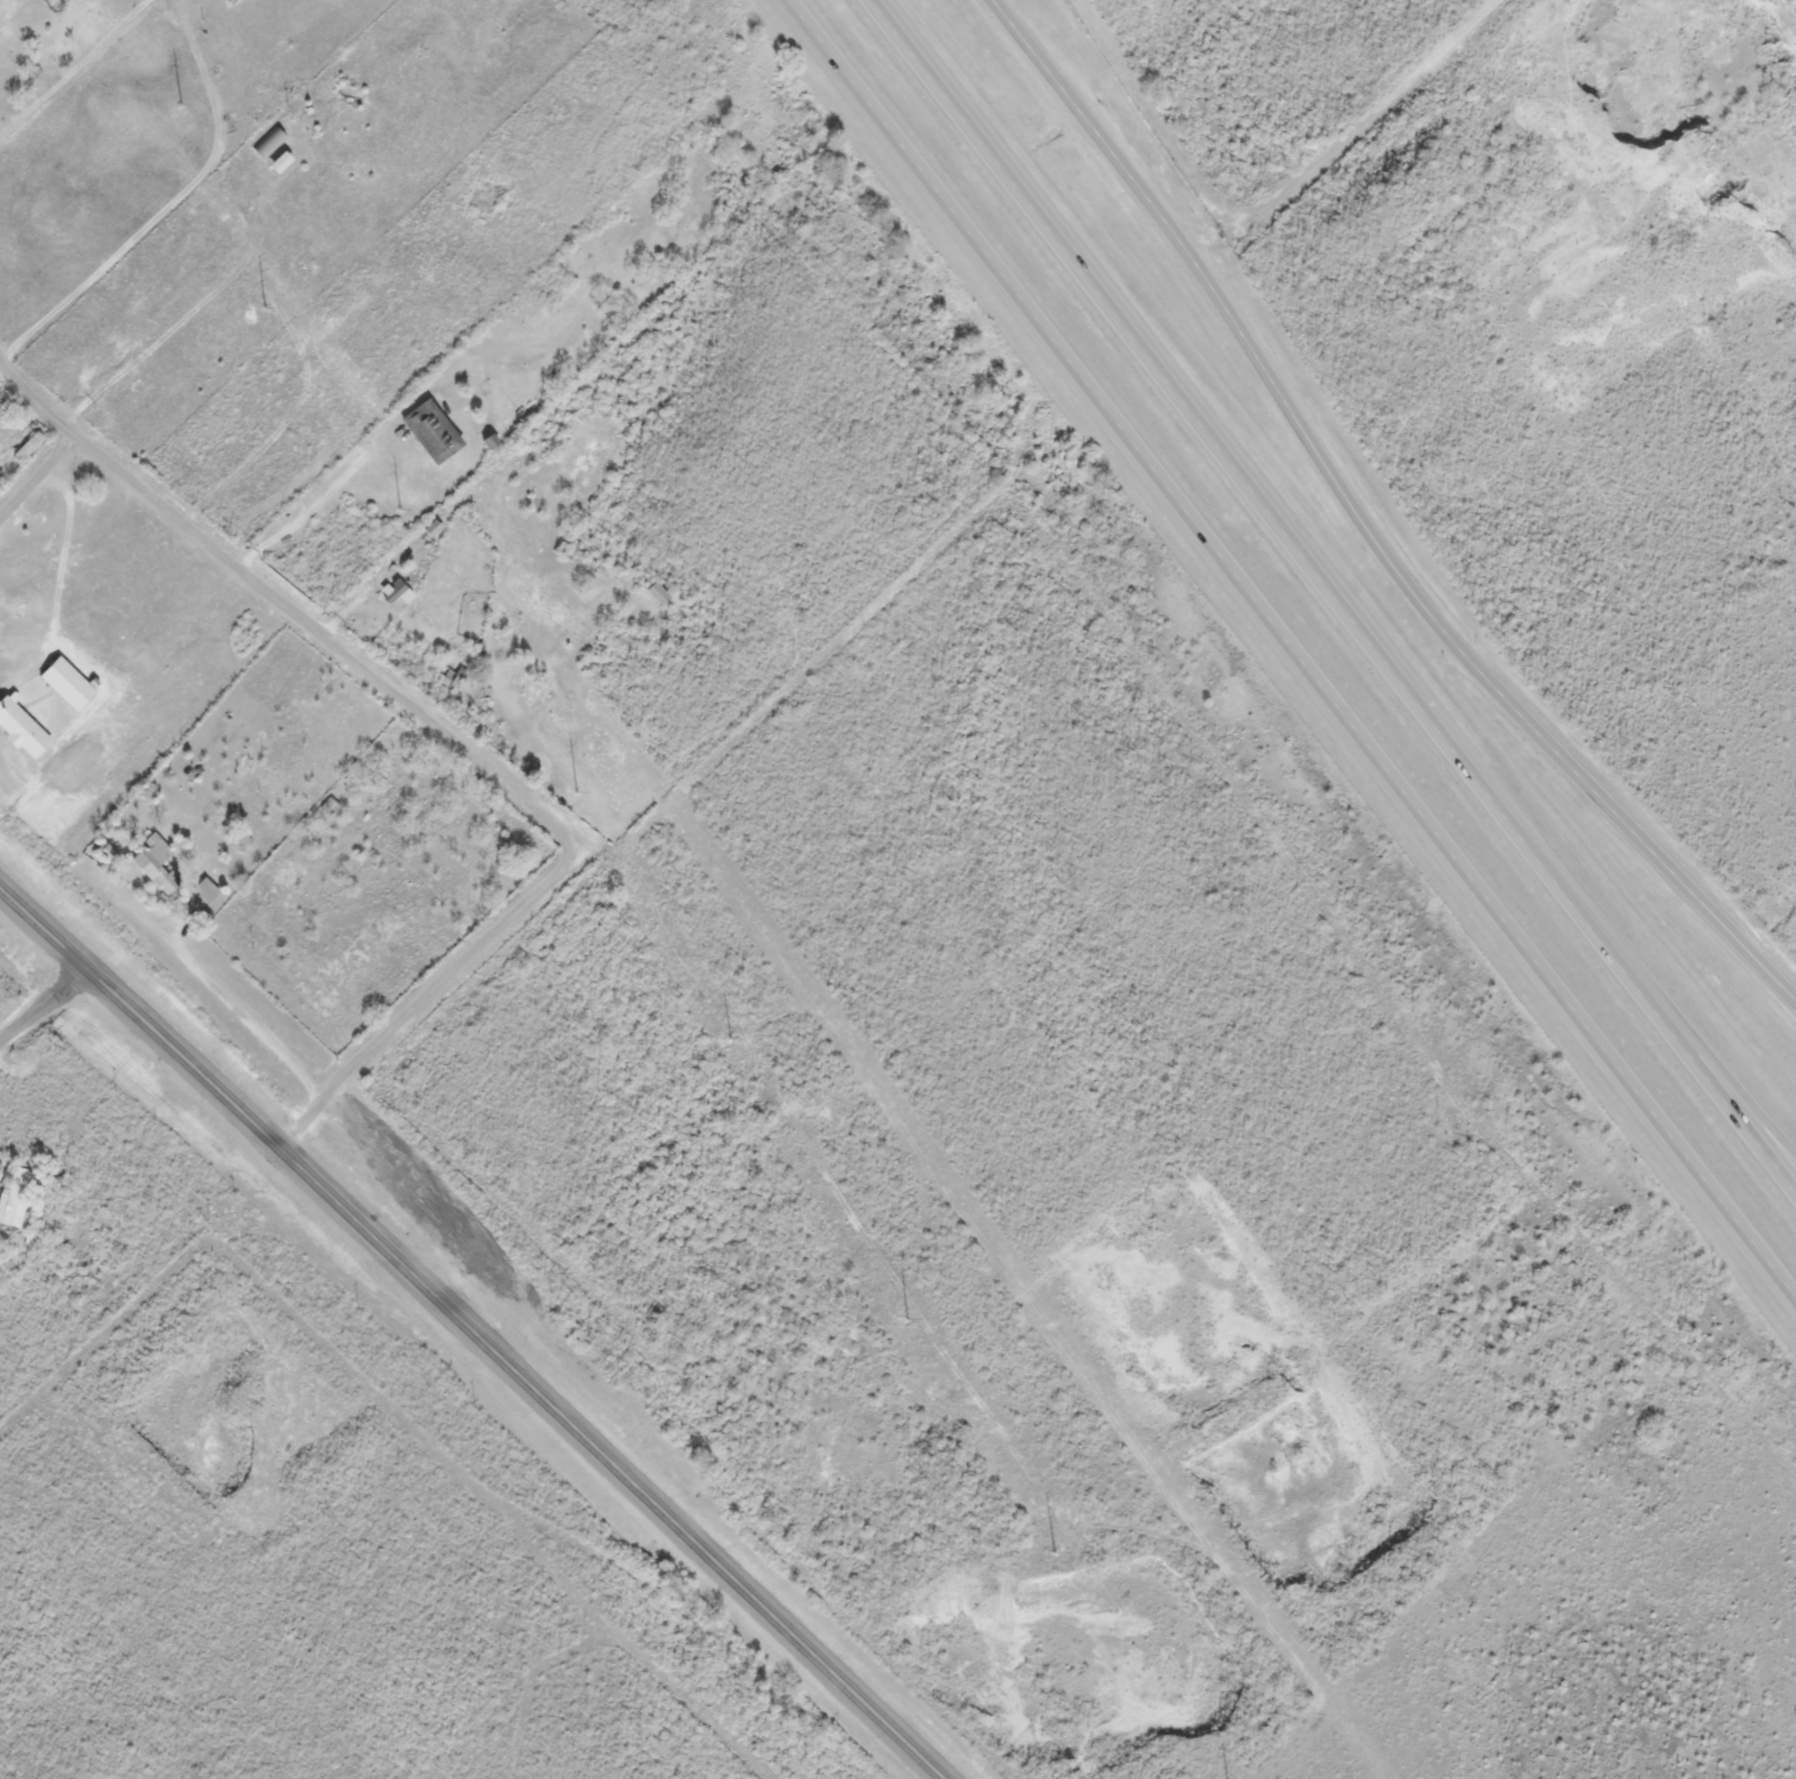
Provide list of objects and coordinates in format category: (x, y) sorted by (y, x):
building: (230, 1)
building: (209, 45)
road: (71, 68)
power tower: (180, 108)
building: (270, 144)
building: (279, 164)
road: (170, 200)
power tower: (267, 306)
road: (33, 398)
building: (430, 431)
building: (489, 441)
building: (27, 445)
building: (0, 474)
power tower: (398, 508)
building: (431, 526)
road: (1363, 526)
building: (395, 591)
building: (659, 593)
road: (1335, 594)
building: (100, 608)
road: (1295, 650)
building: (65, 682)
building: (21, 729)
road: (449, 738)
building: (148, 789)
power tower: (576, 794)
building: (328, 805)
building: (375, 814)
building: (157, 864)
building: (205, 887)
road: (43, 1003)
road: (1688, 1031)
power tower: (730, 1040)
building: (15, 1198)
power tower: (905, 1317)
road: (474, 1330)
power tower: (1056, 1558)

